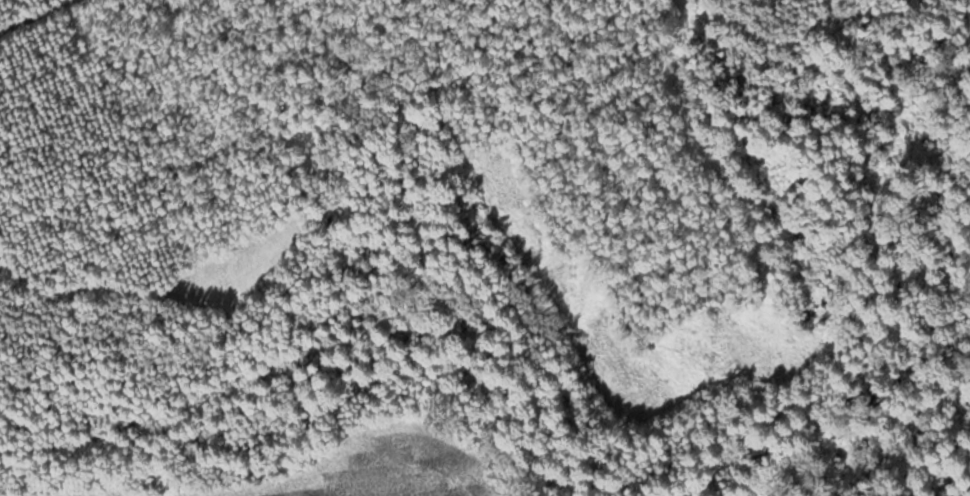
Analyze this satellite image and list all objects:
road: (897, 32)

